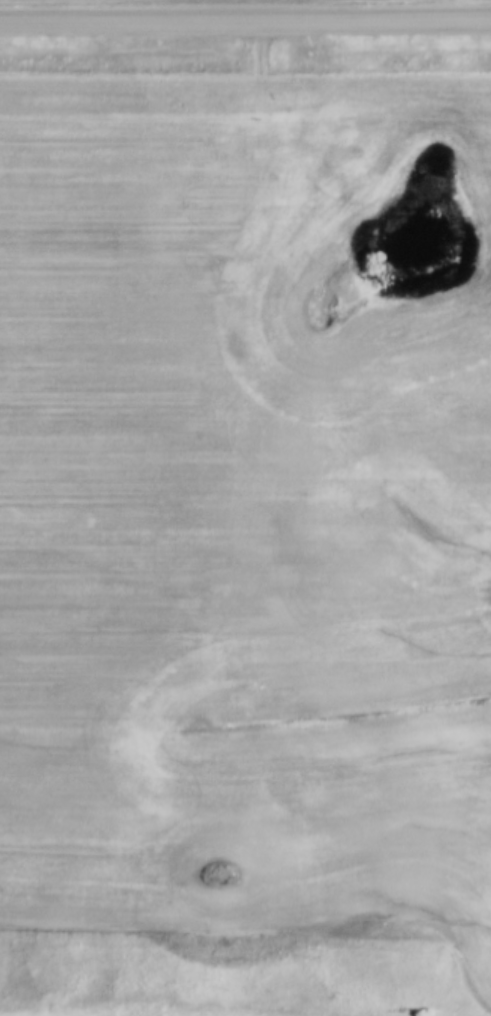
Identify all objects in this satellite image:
road: (245, 21)

